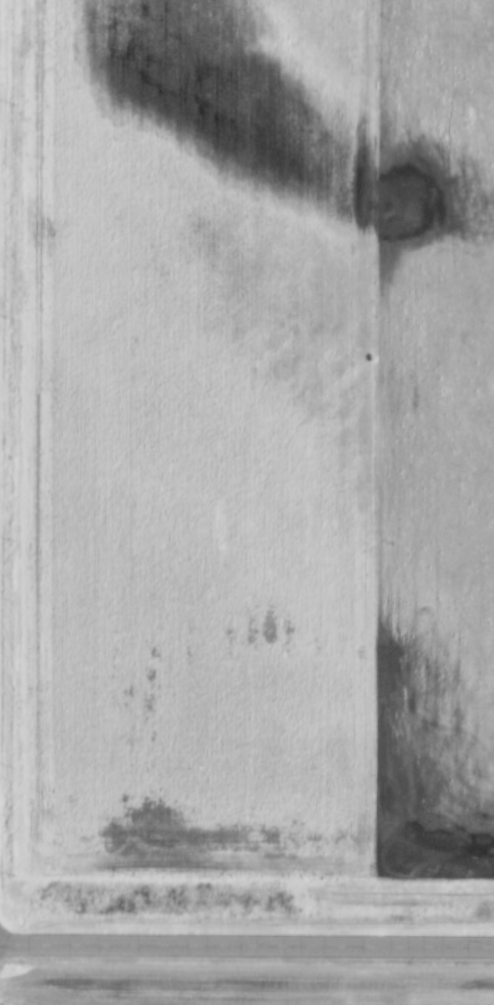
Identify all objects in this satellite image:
road: (247, 949)

